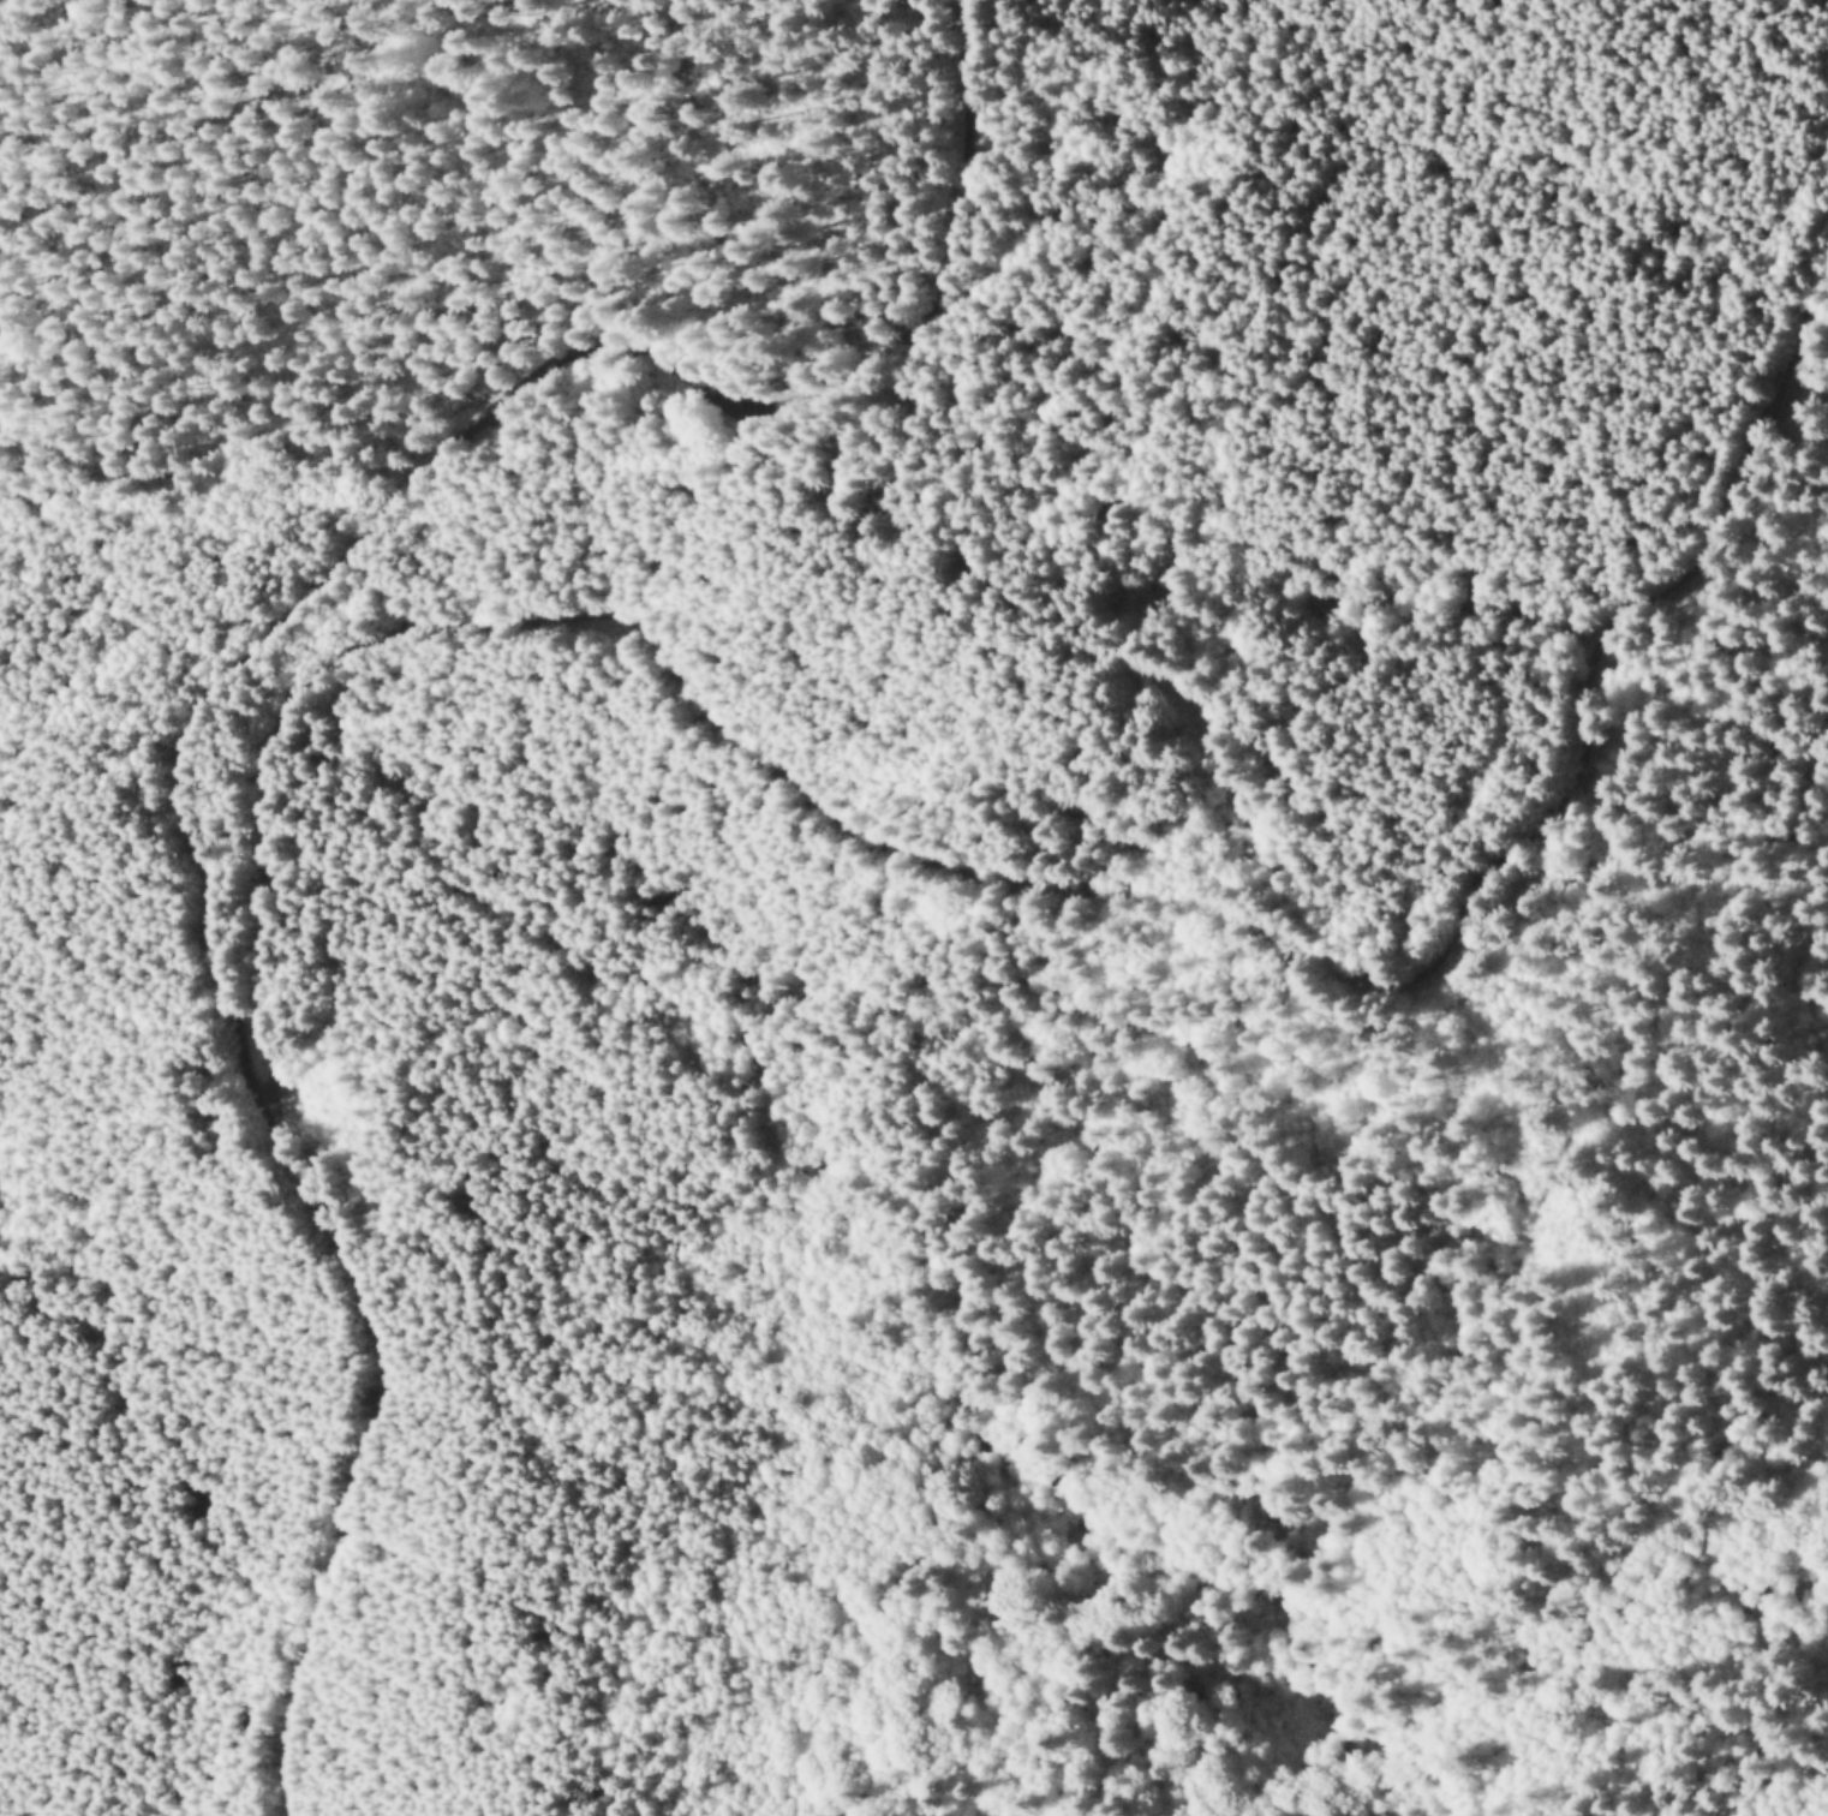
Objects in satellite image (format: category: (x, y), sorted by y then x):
road: (299, 705)
road: (213, 707)
road: (1345, 1790)

